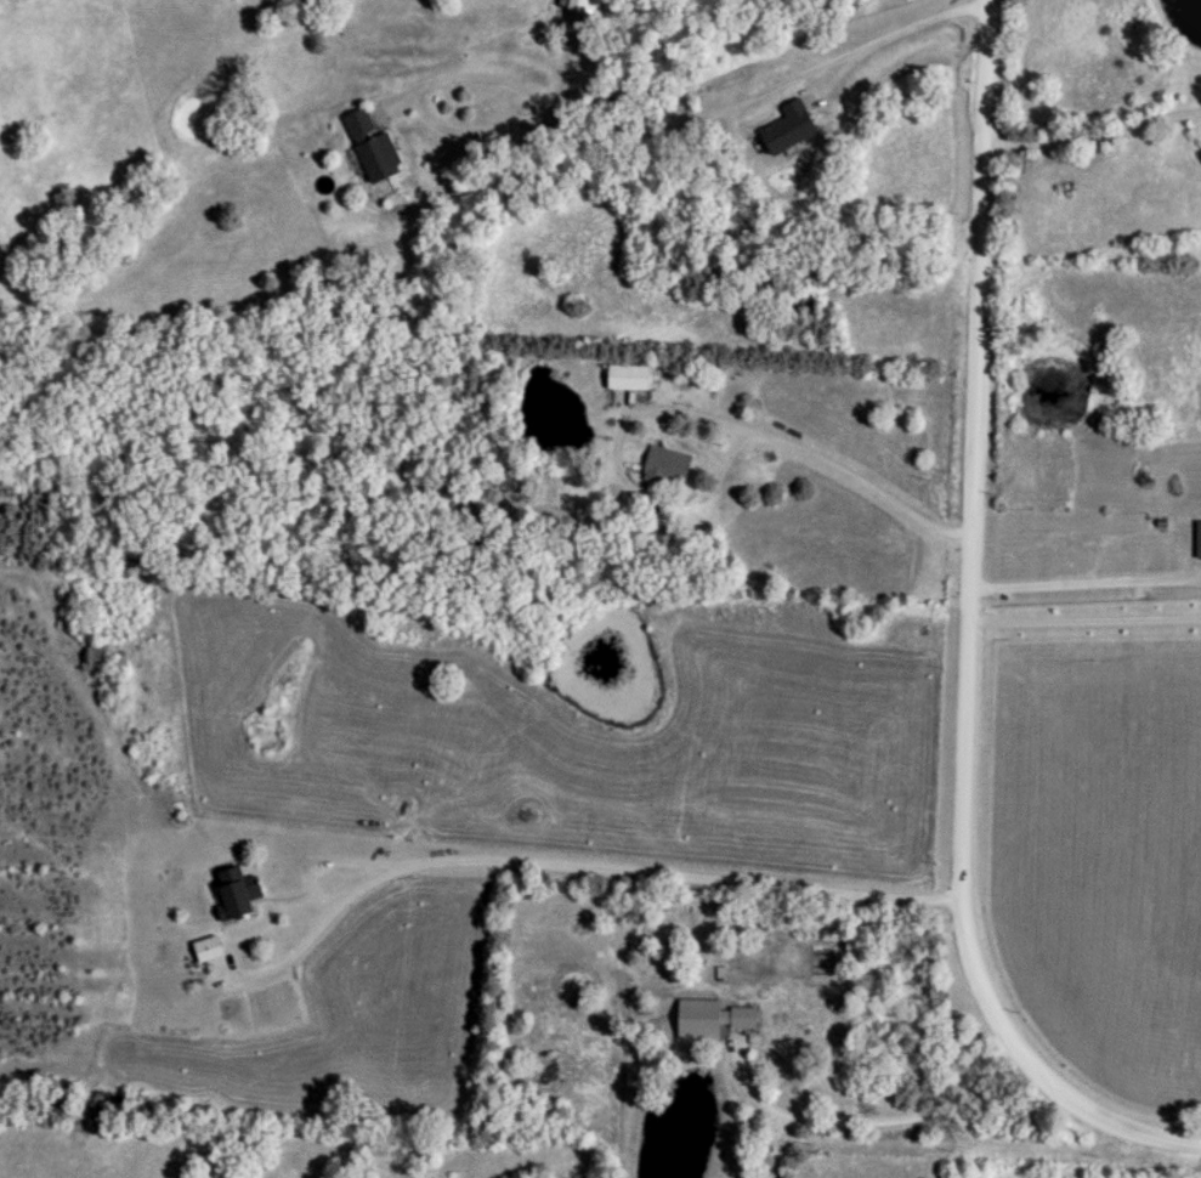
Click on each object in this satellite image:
building: (587, 6)
road: (781, 97)
road: (435, 102)
building: (791, 126)
road: (1094, 135)
building: (381, 159)
building: (629, 378)
road: (787, 440)
building: (668, 468)
building: (1082, 542)
road: (1082, 623)
road: (963, 644)
road: (548, 865)
building: (240, 891)
building: (209, 948)
building: (744, 1018)
building: (789, 1033)
road: (753, 1092)
road: (890, 1118)
road: (774, 1163)

